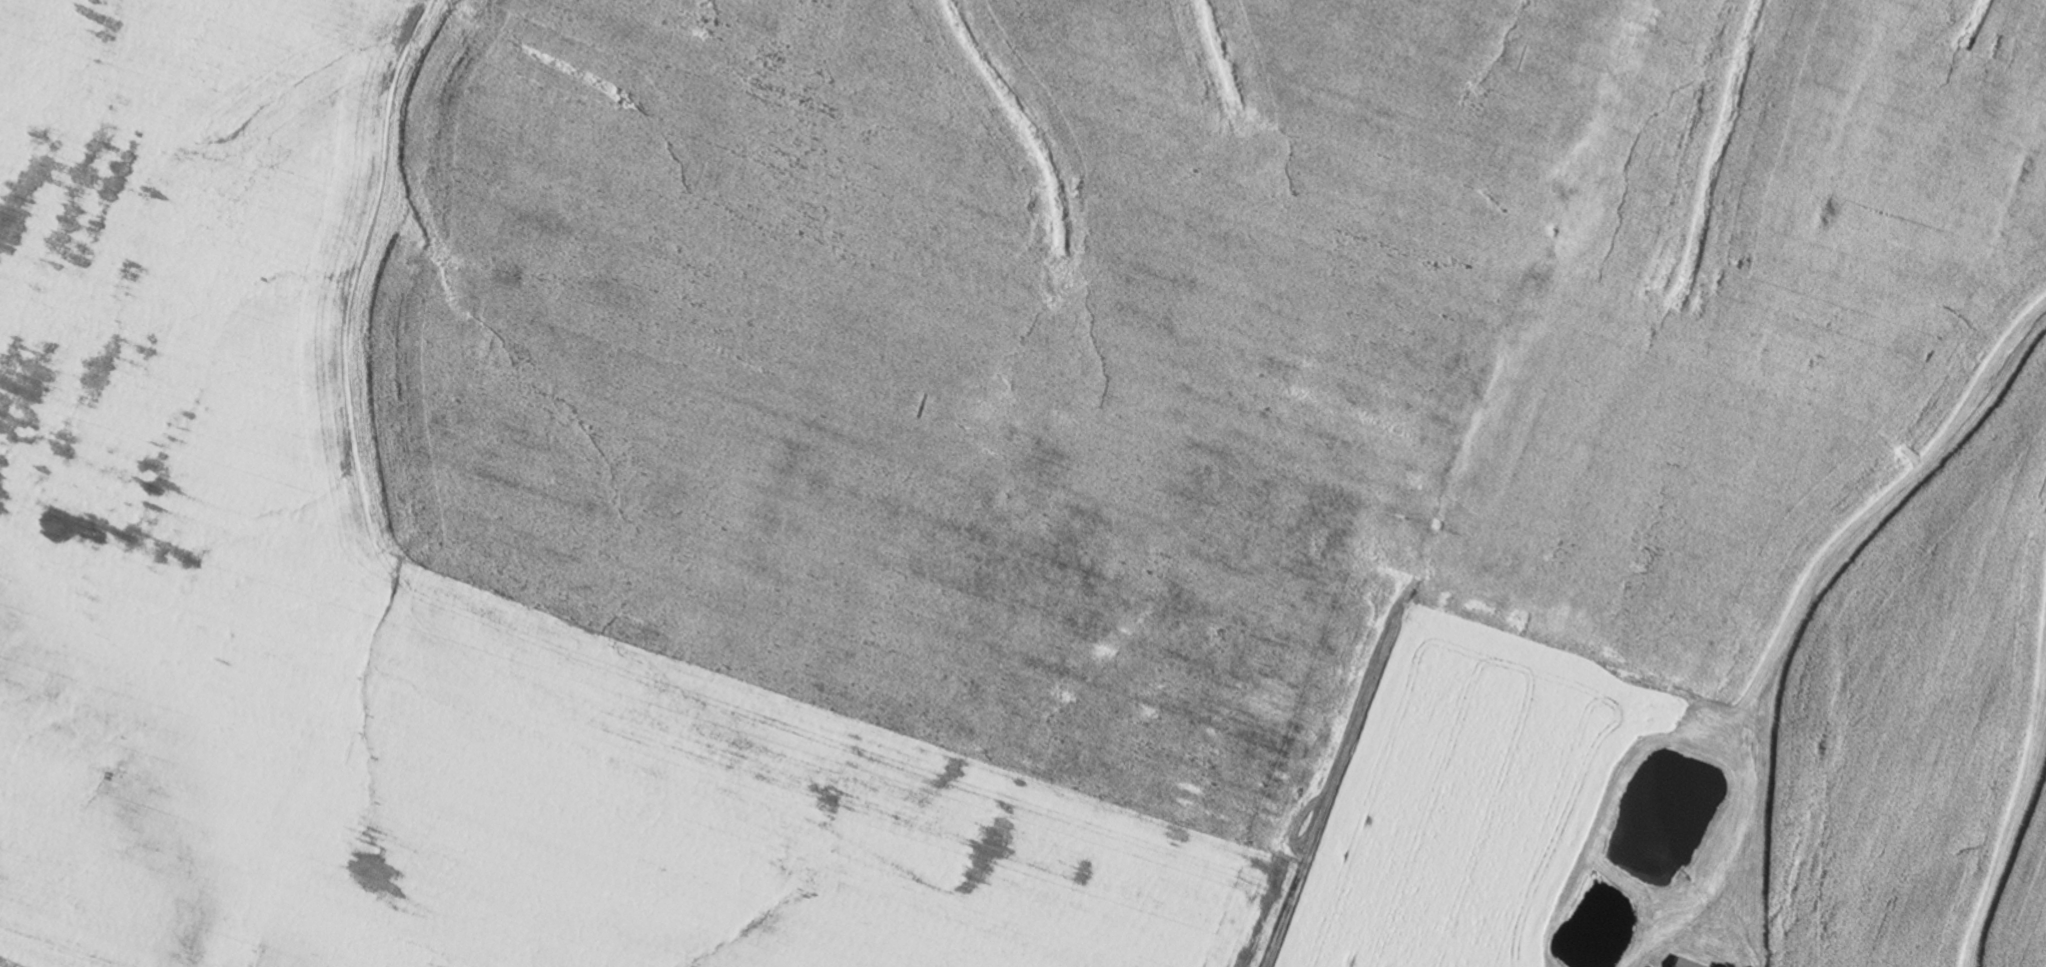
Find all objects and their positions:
building: (1682, 963)

